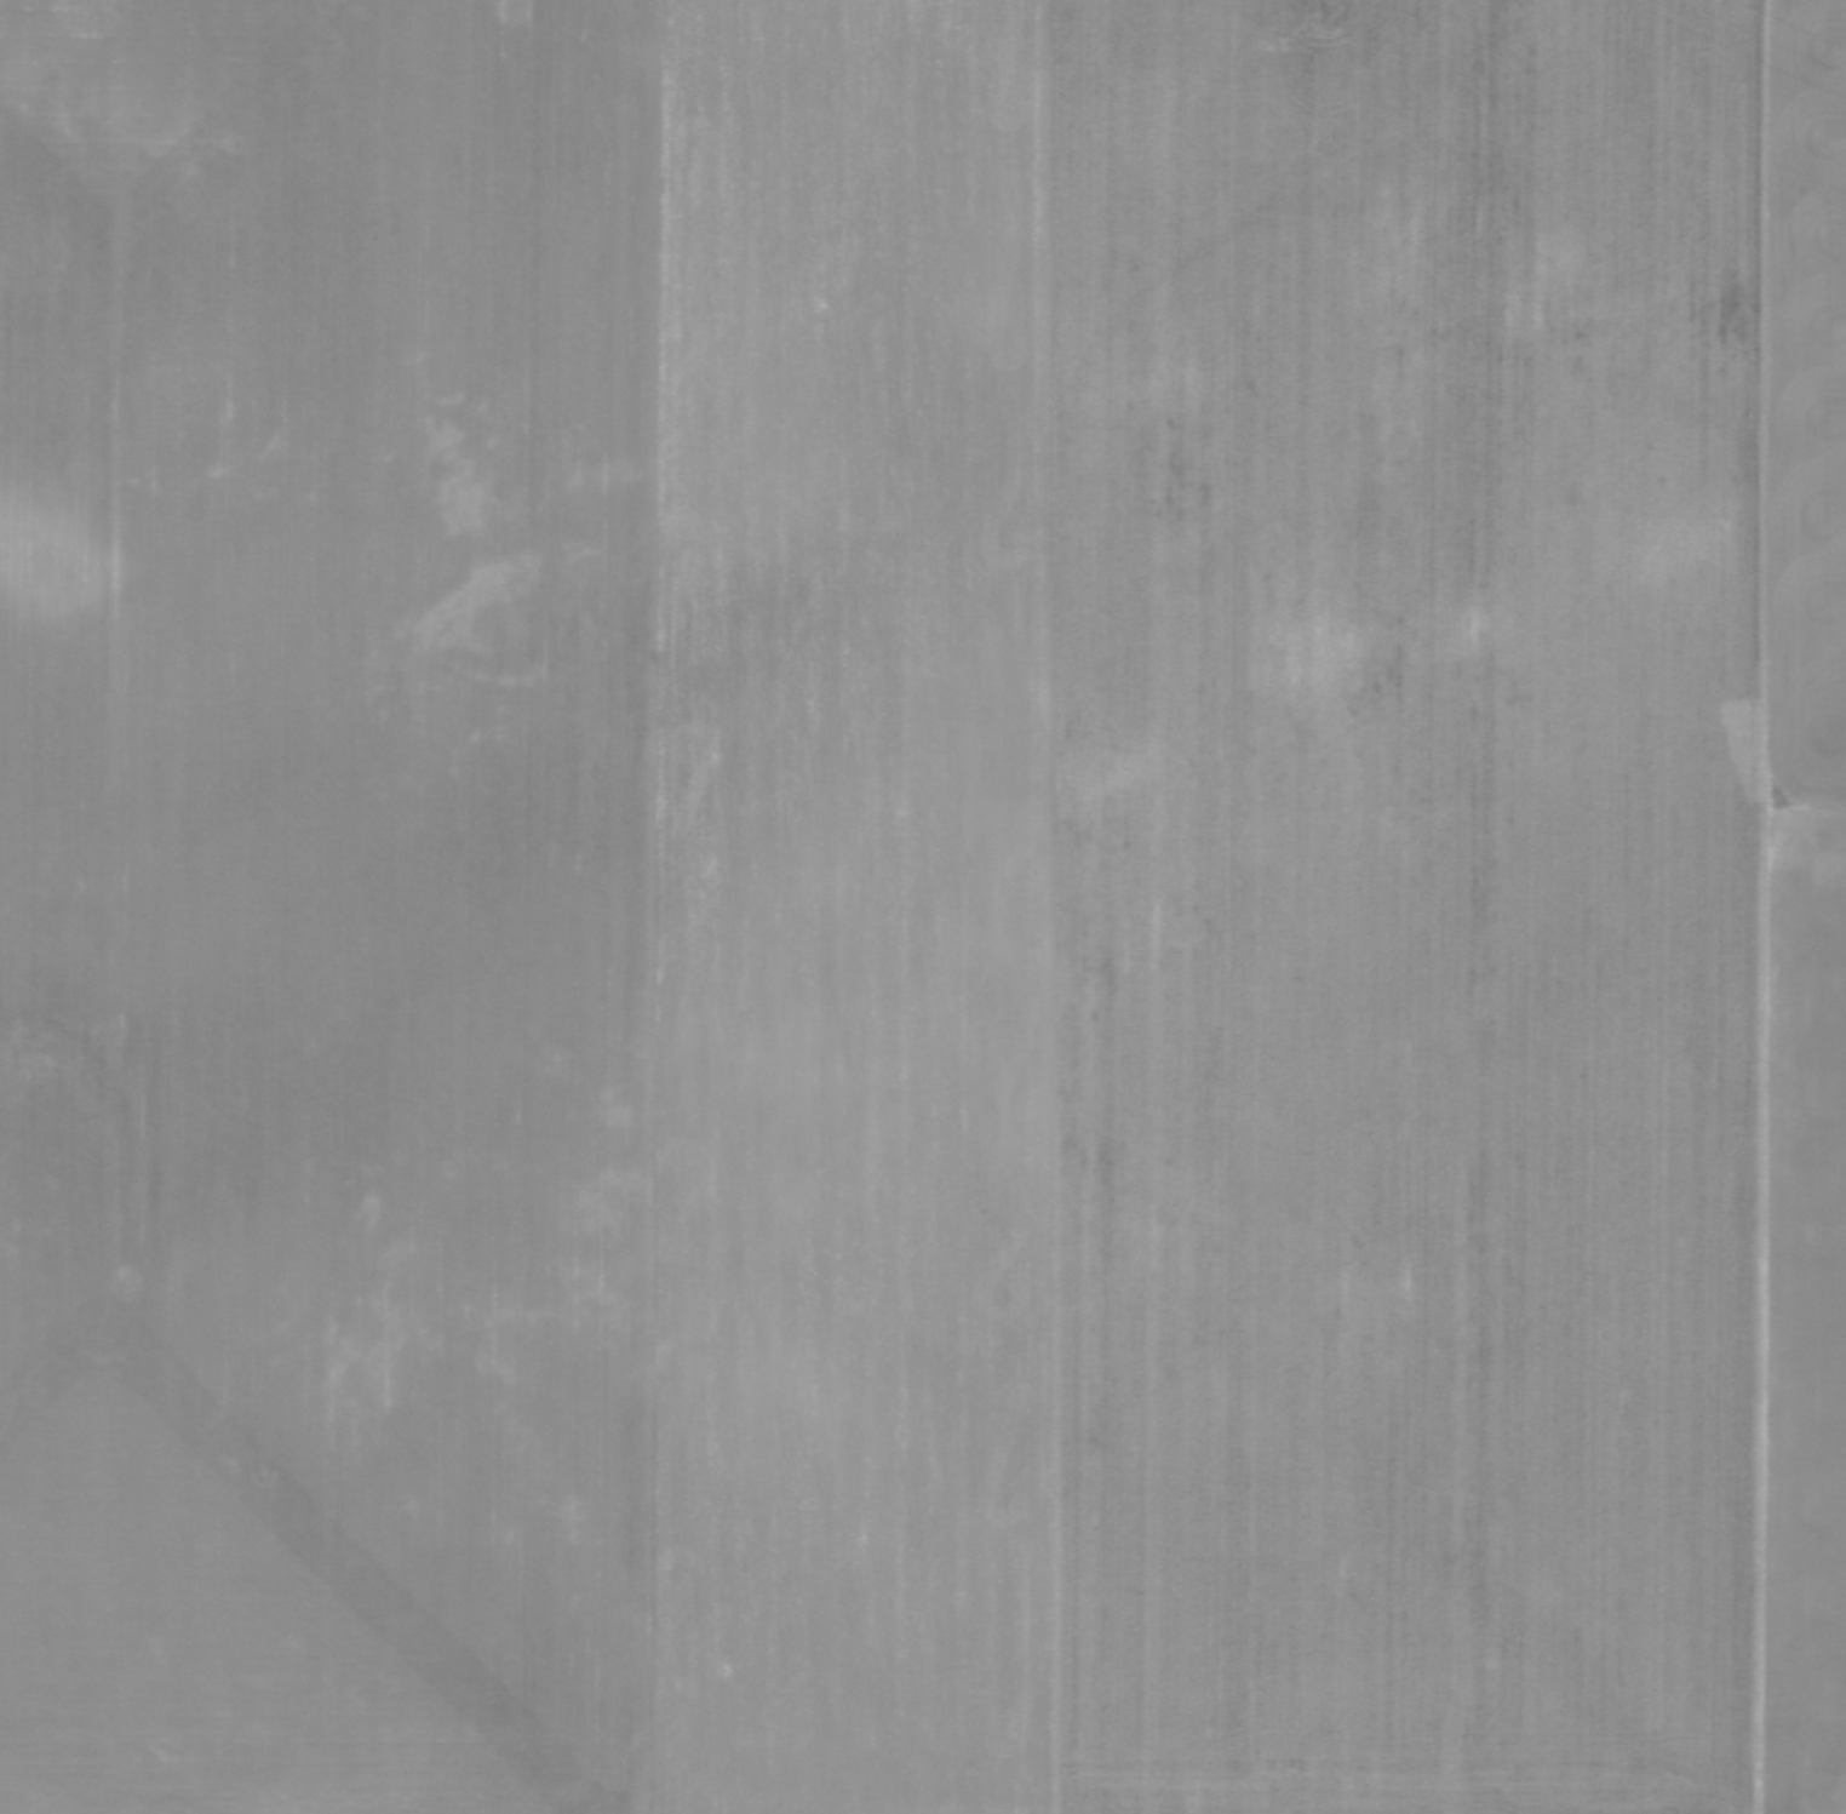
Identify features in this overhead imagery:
crop: (923, 906)

